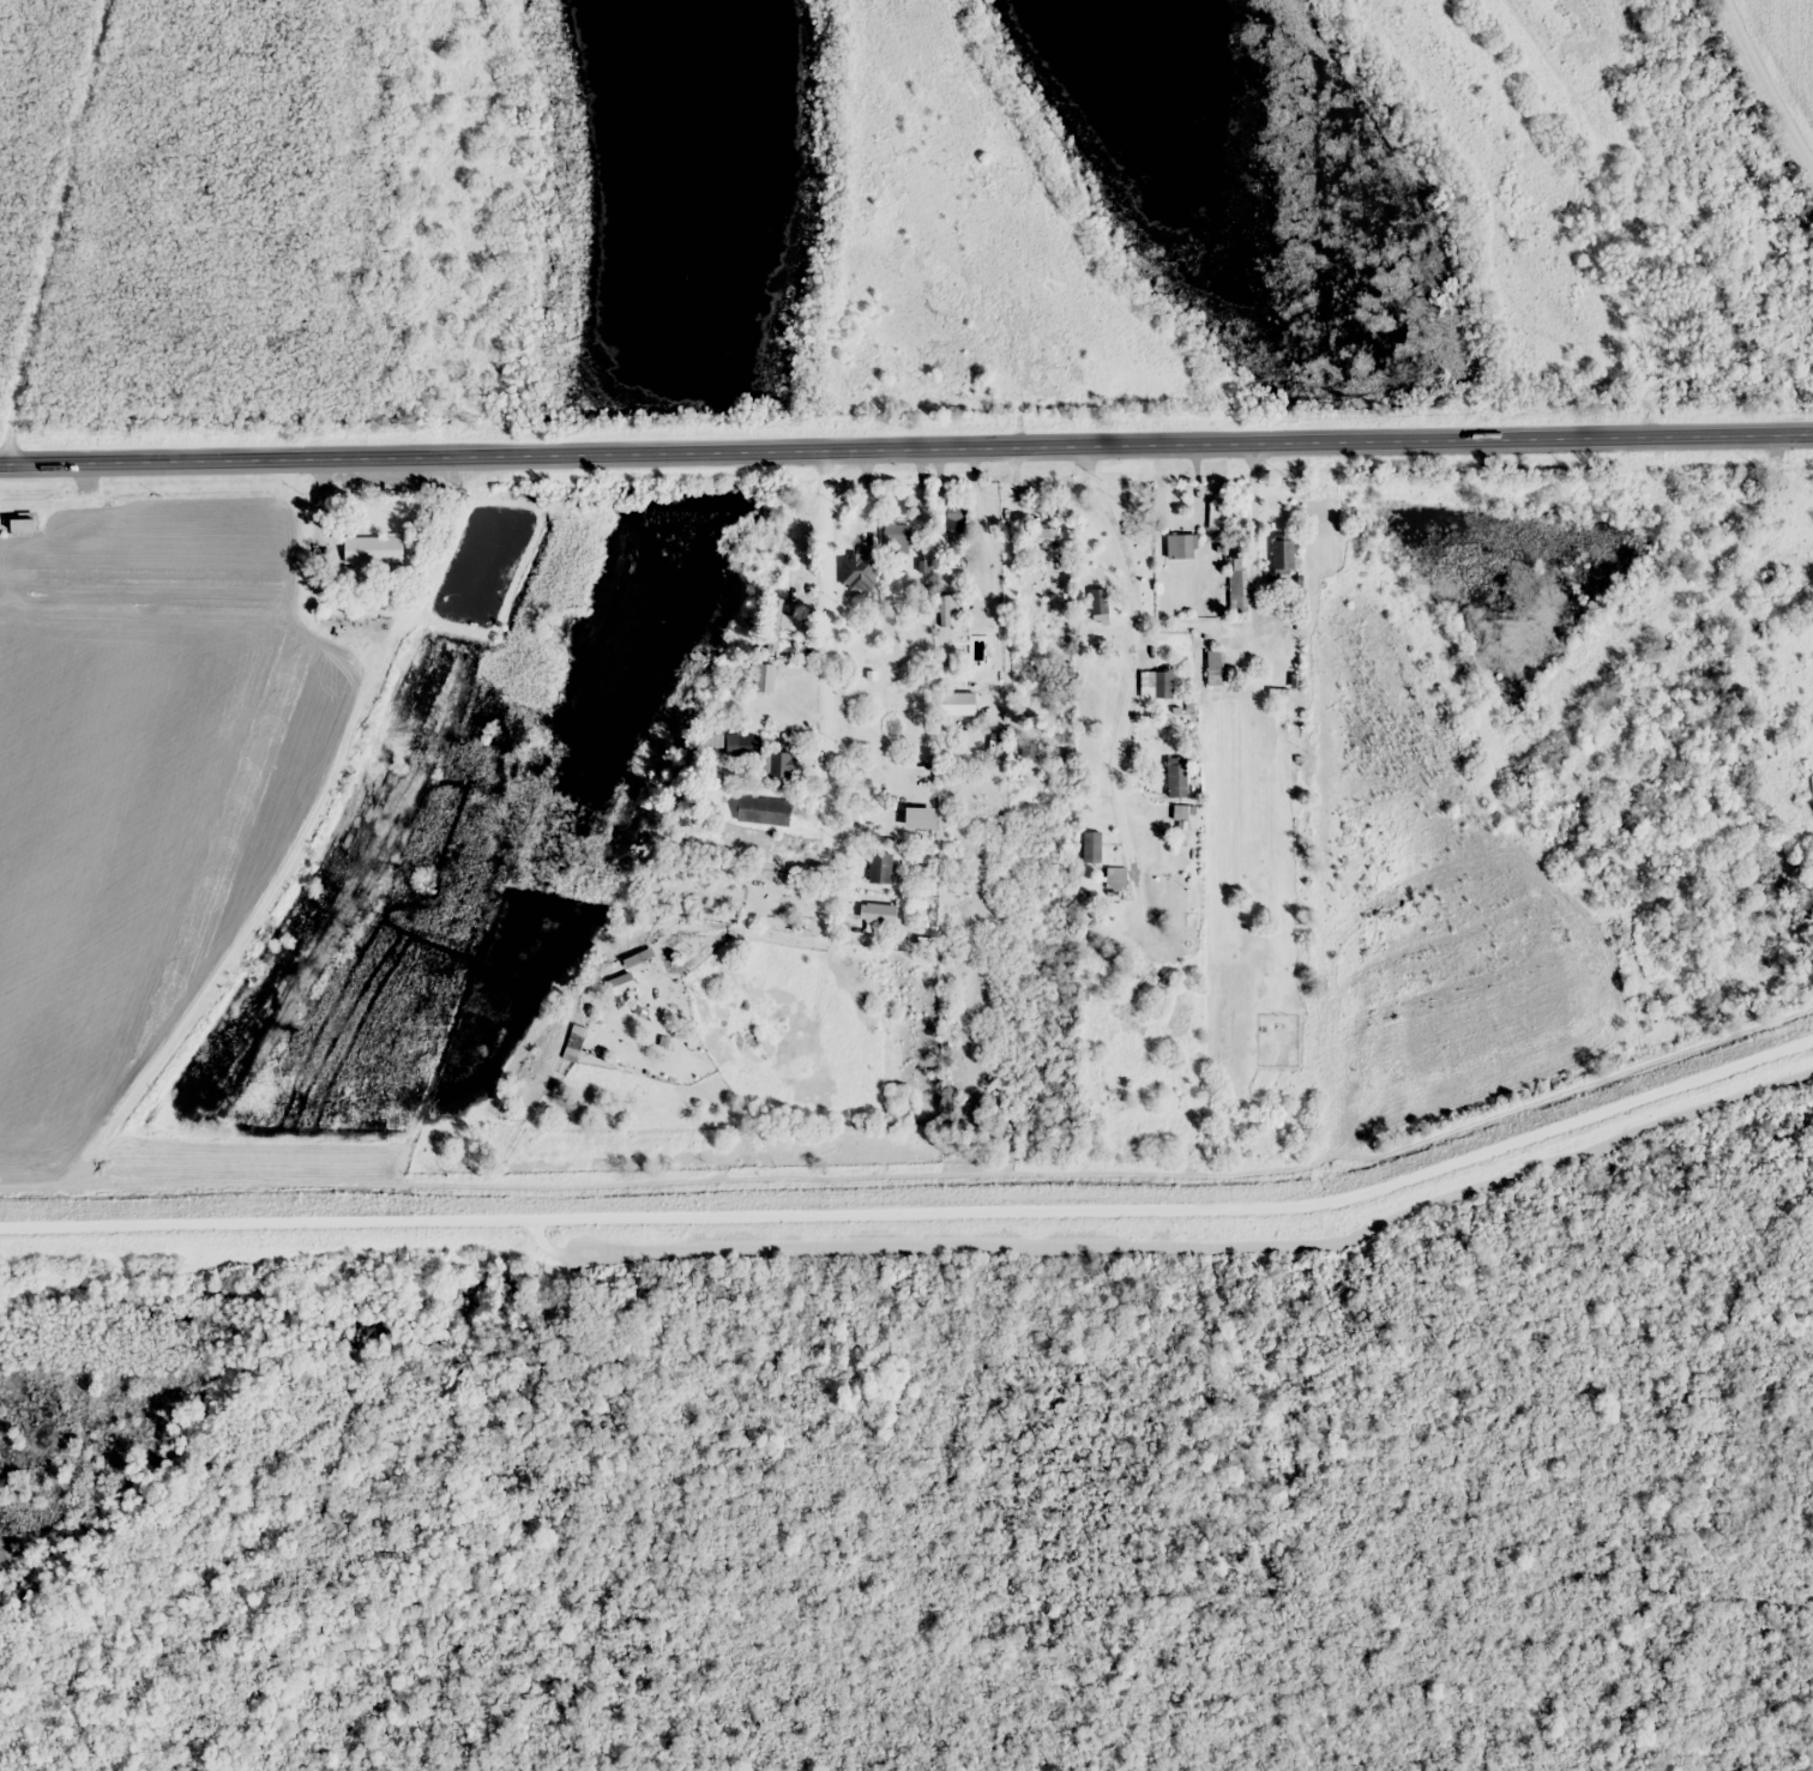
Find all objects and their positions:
road: (1787, 48)
road: (54, 233)
road: (907, 458)
building: (1218, 517)
building: (948, 524)
building: (24, 525)
building: (1044, 534)
building: (897, 537)
building: (1182, 547)
building: (374, 550)
building: (1284, 553)
building: (857, 571)
building: (1770, 577)
building: (1239, 582)
building: (1100, 603)
building: (777, 624)
building: (1216, 668)
building: (766, 677)
building: (1160, 682)
building: (782, 766)
building: (1179, 777)
building: (765, 811)
building: (1092, 848)
building: (881, 868)
building: (1116, 878)
building: (880, 914)
building: (620, 984)
building: (573, 1046)

